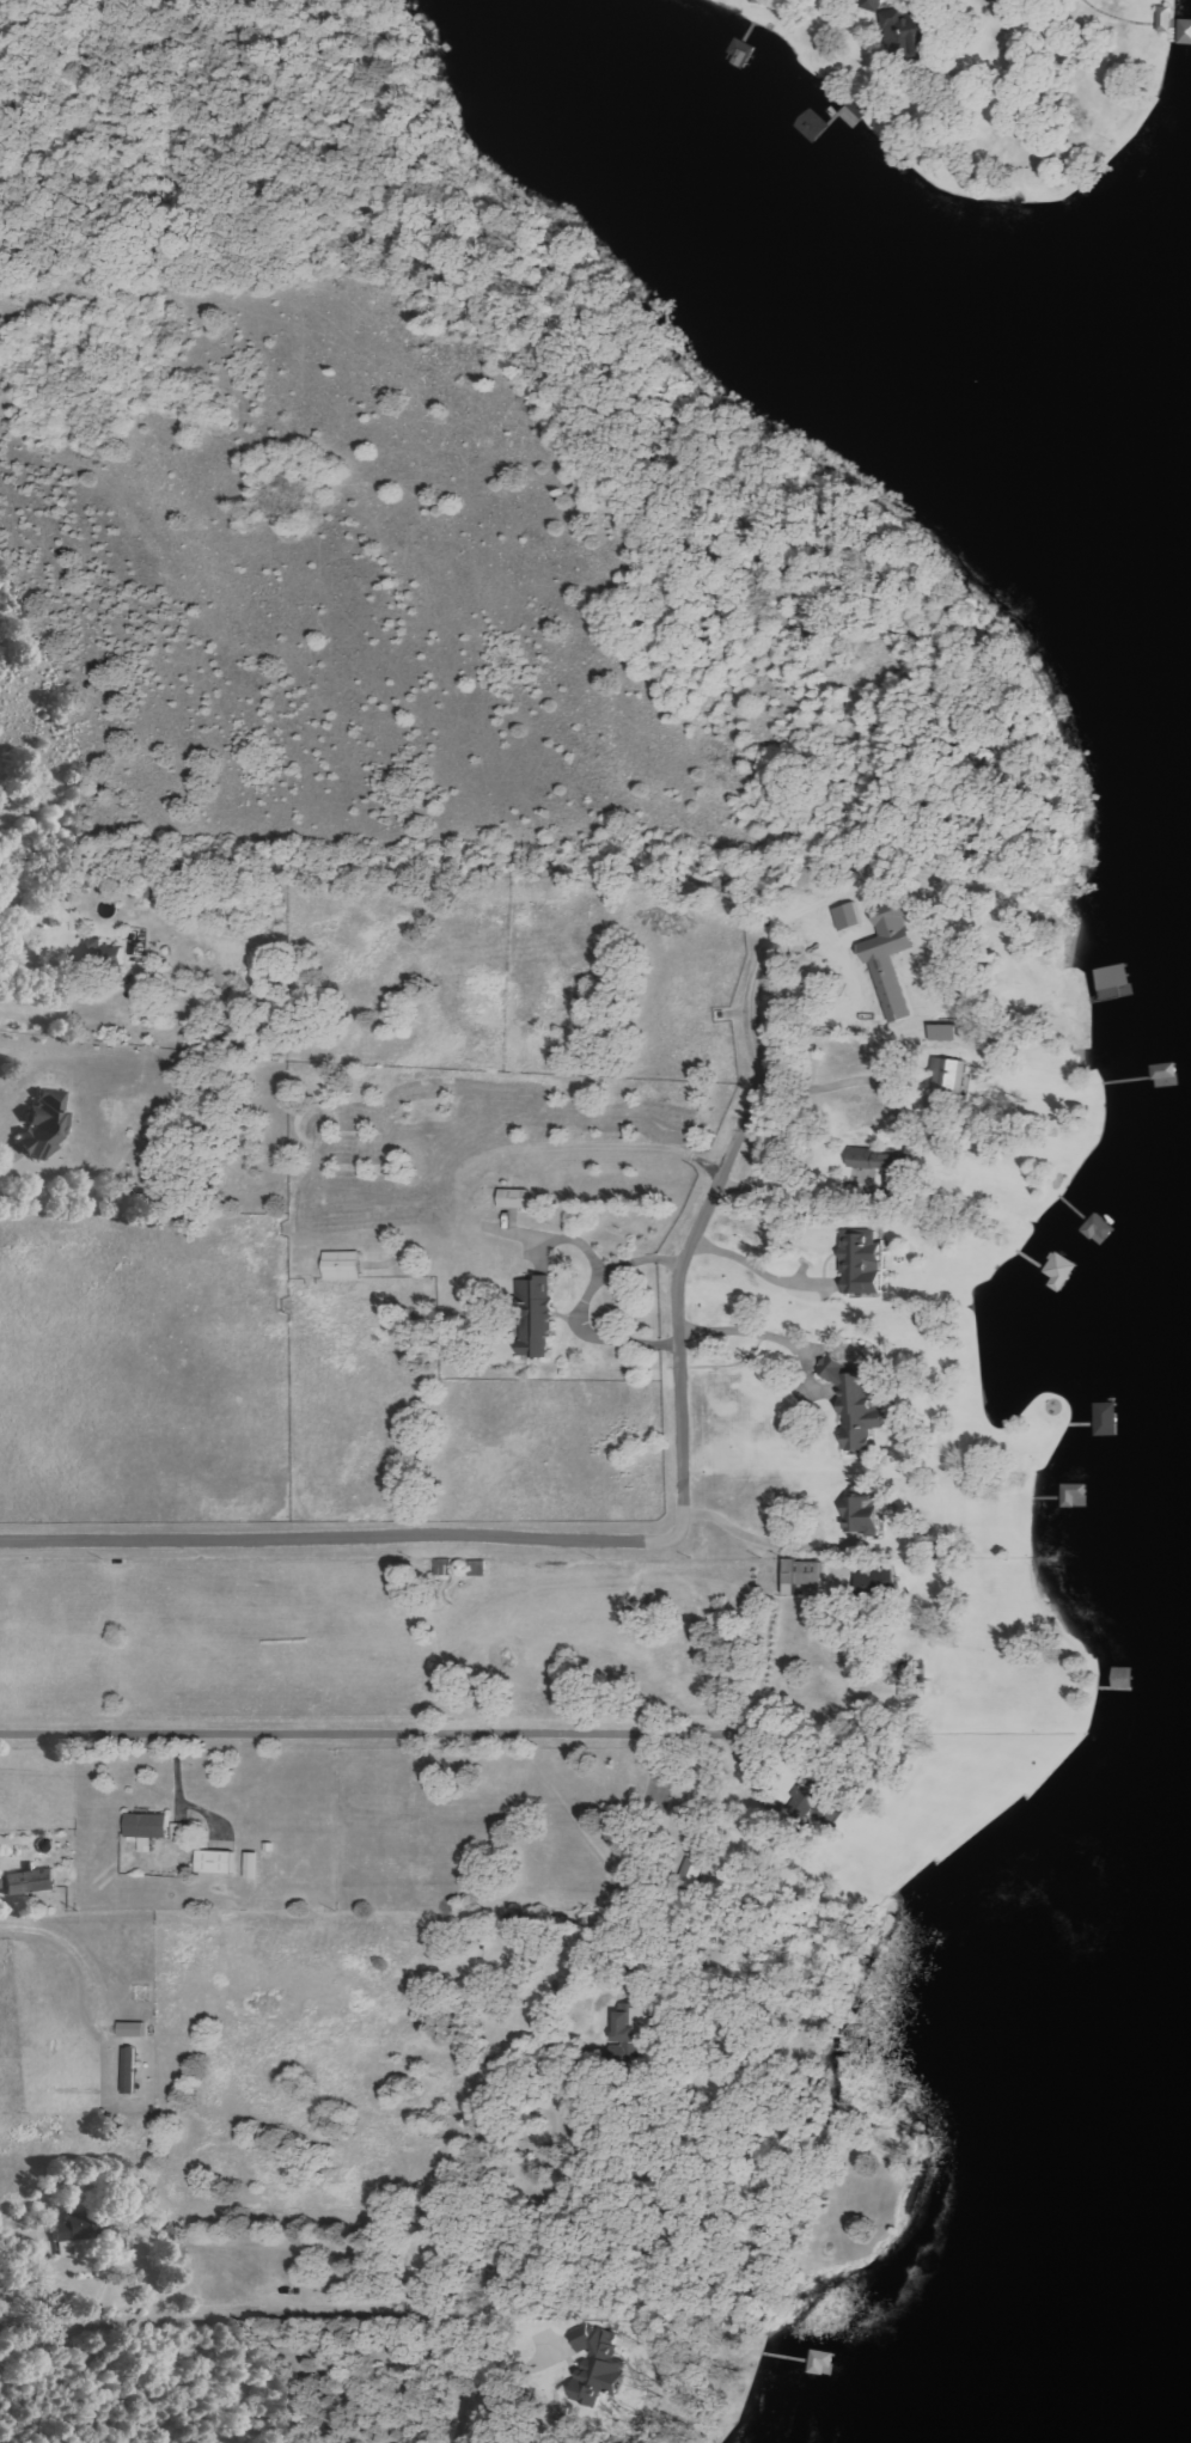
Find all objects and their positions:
building: (875, 5)
building: (1166, 19)
building: (1185, 32)
building: (909, 36)
building: (814, 126)
building: (11, 899)
building: (1118, 972)
building: (948, 1086)
building: (47, 1125)
building: (875, 1161)
building: (153, 1165)
building: (506, 1198)
building: (1099, 1228)
building: (863, 1262)
building: (344, 1265)
building: (536, 1317)
building: (856, 1405)
building: (1108, 1418)
building: (865, 1511)
road: (641, 1541)
building: (804, 1575)
road: (344, 1733)
building: (814, 1795)
building: (148, 1824)
building: (181, 1831)
building: (146, 1843)
building: (216, 1861)
building: (254, 1864)
building: (31, 1881)
building: (623, 2023)
building: (133, 2028)
building: (73, 2231)
building: (824, 2362)
building: (601, 2365)
road: (482, 2417)

